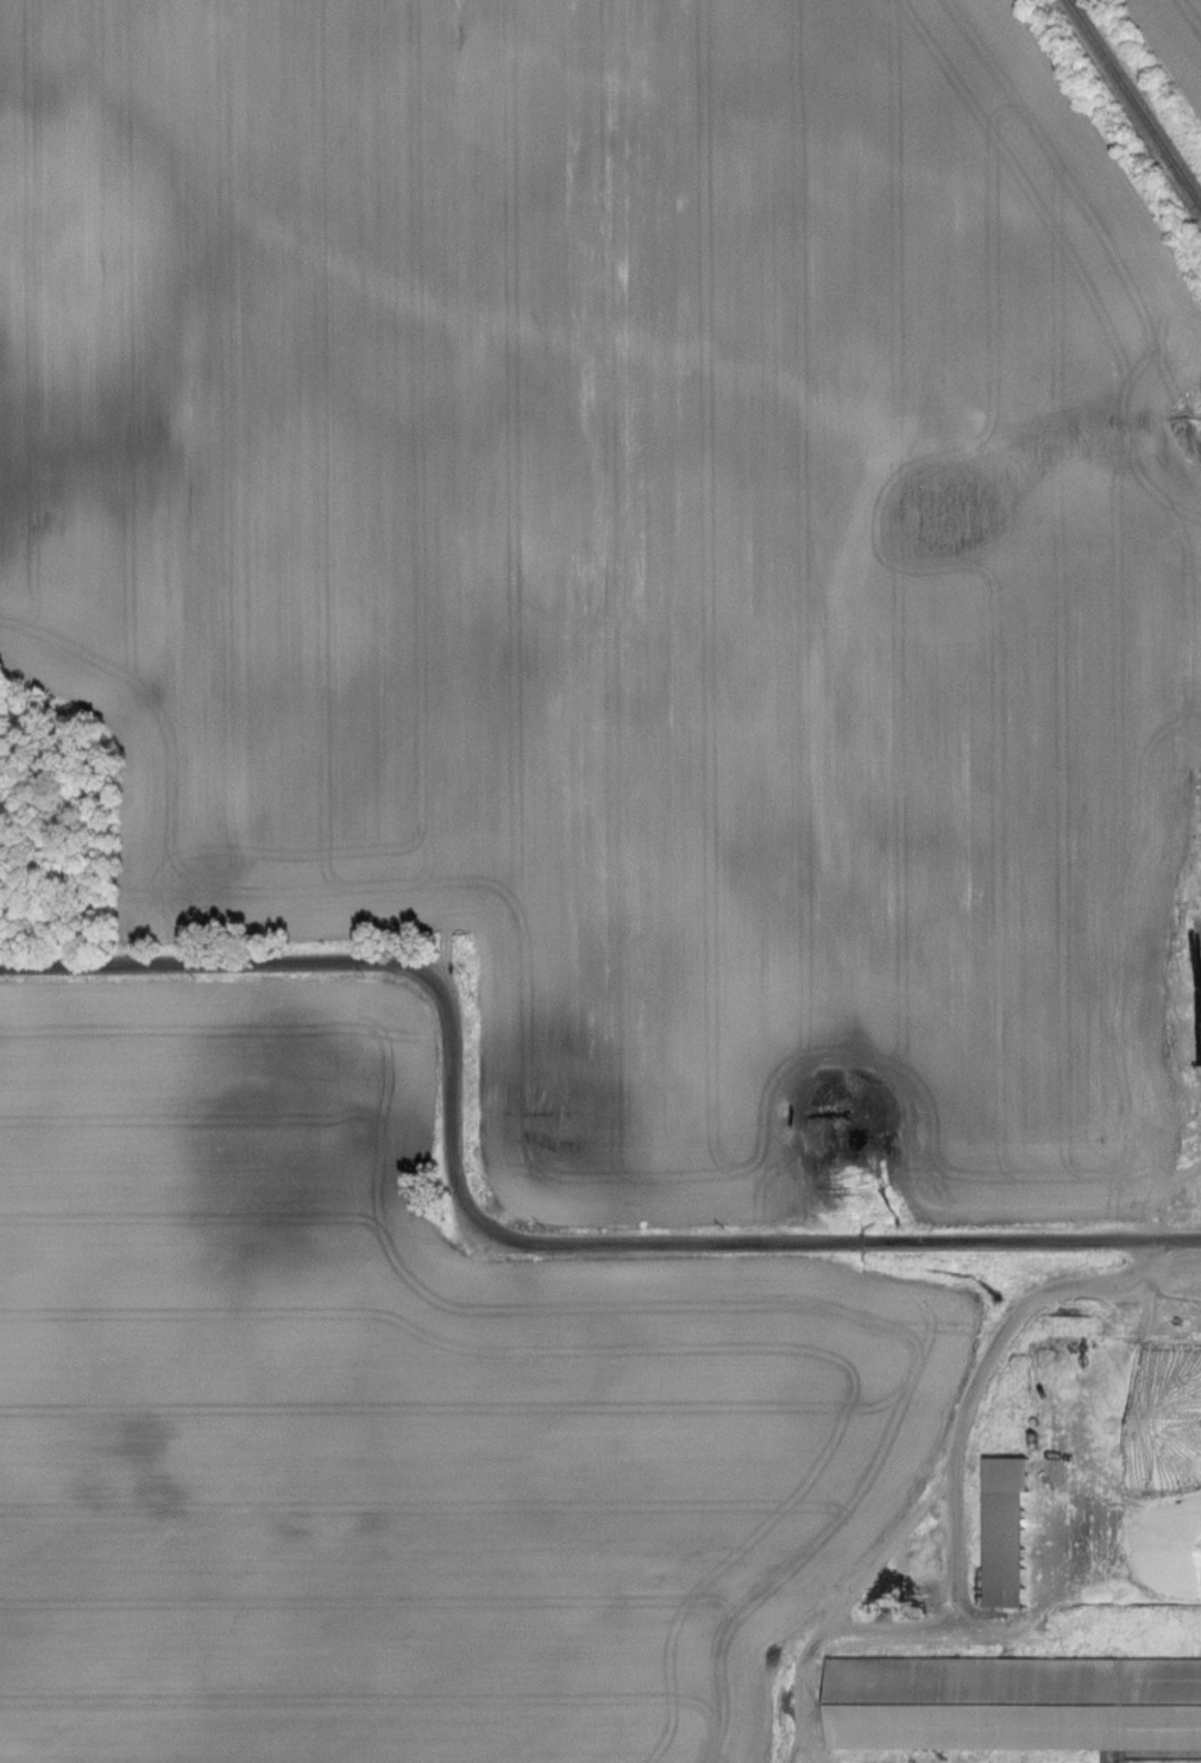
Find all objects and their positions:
railway: (1130, 107)
road: (493, 1234)
road: (949, 1511)
building: (1014, 1548)
building: (1015, 1704)
road: (817, 1750)

